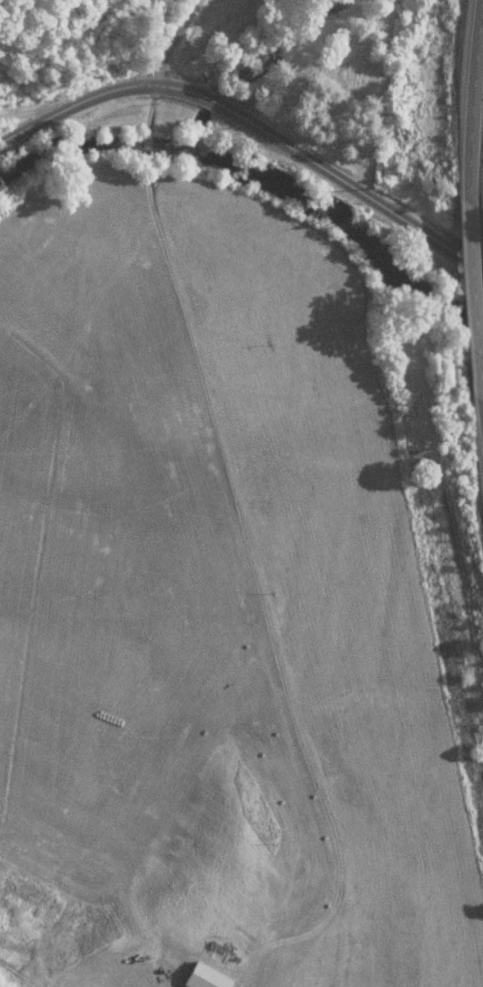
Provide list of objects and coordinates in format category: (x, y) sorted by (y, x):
road: (169, 38)
road: (75, 100)
road: (472, 103)
road: (323, 167)
road: (471, 302)
road: (478, 419)
building: (204, 973)

